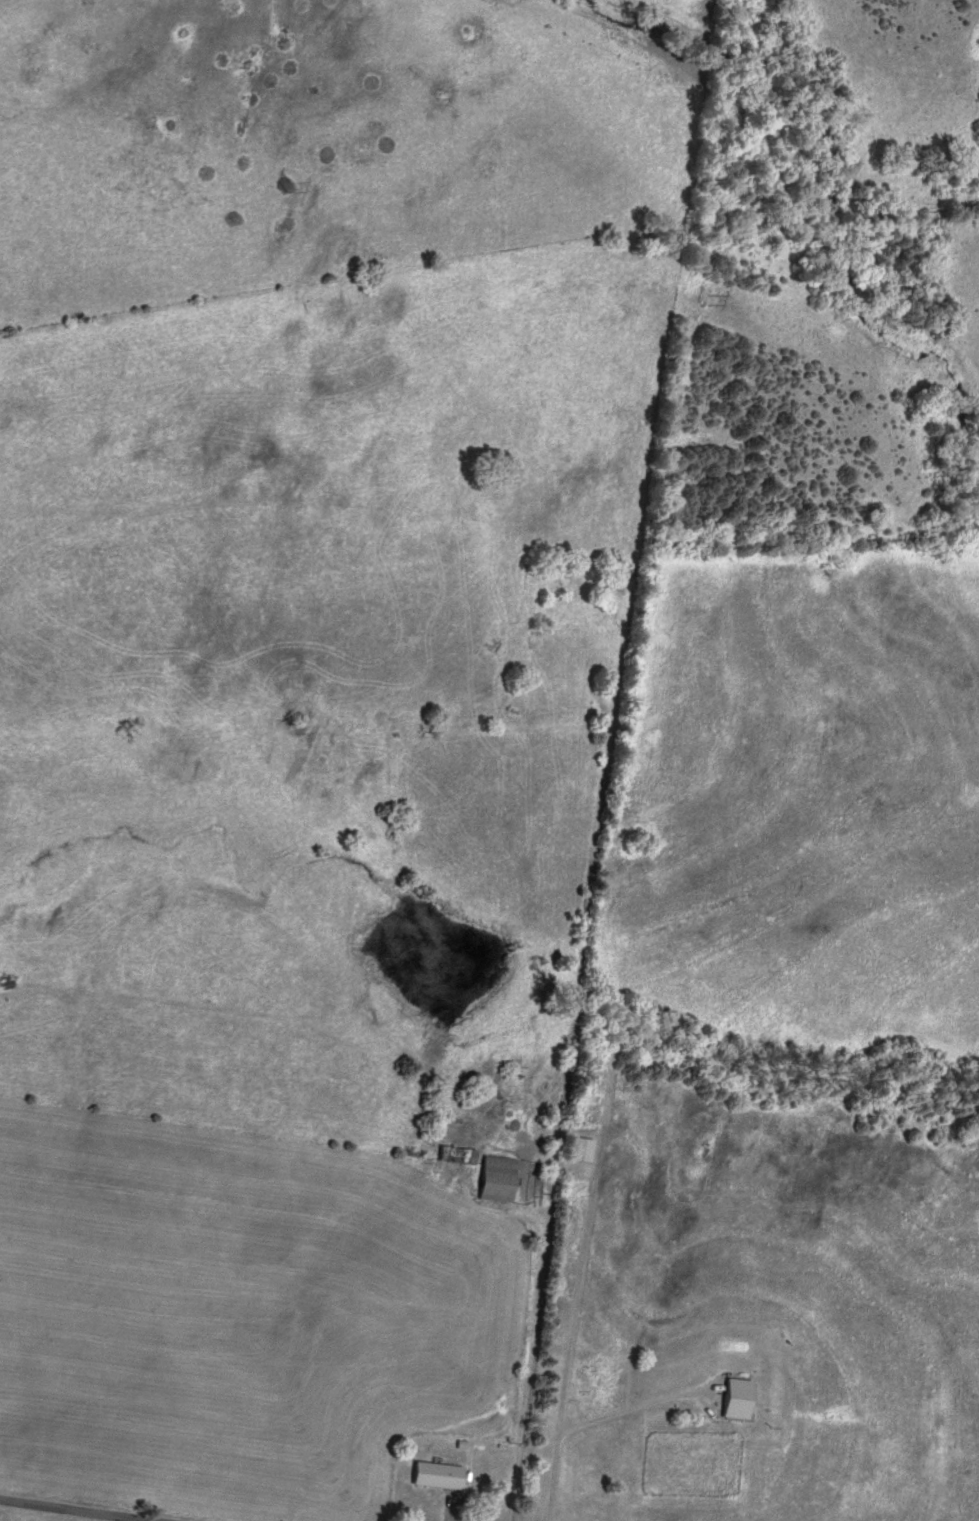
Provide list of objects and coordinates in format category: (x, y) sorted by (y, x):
building: (581, 1149)
building: (457, 1154)
building: (497, 1178)
building: (738, 1399)
road: (535, 1460)
building: (439, 1475)
road: (64, 1511)

